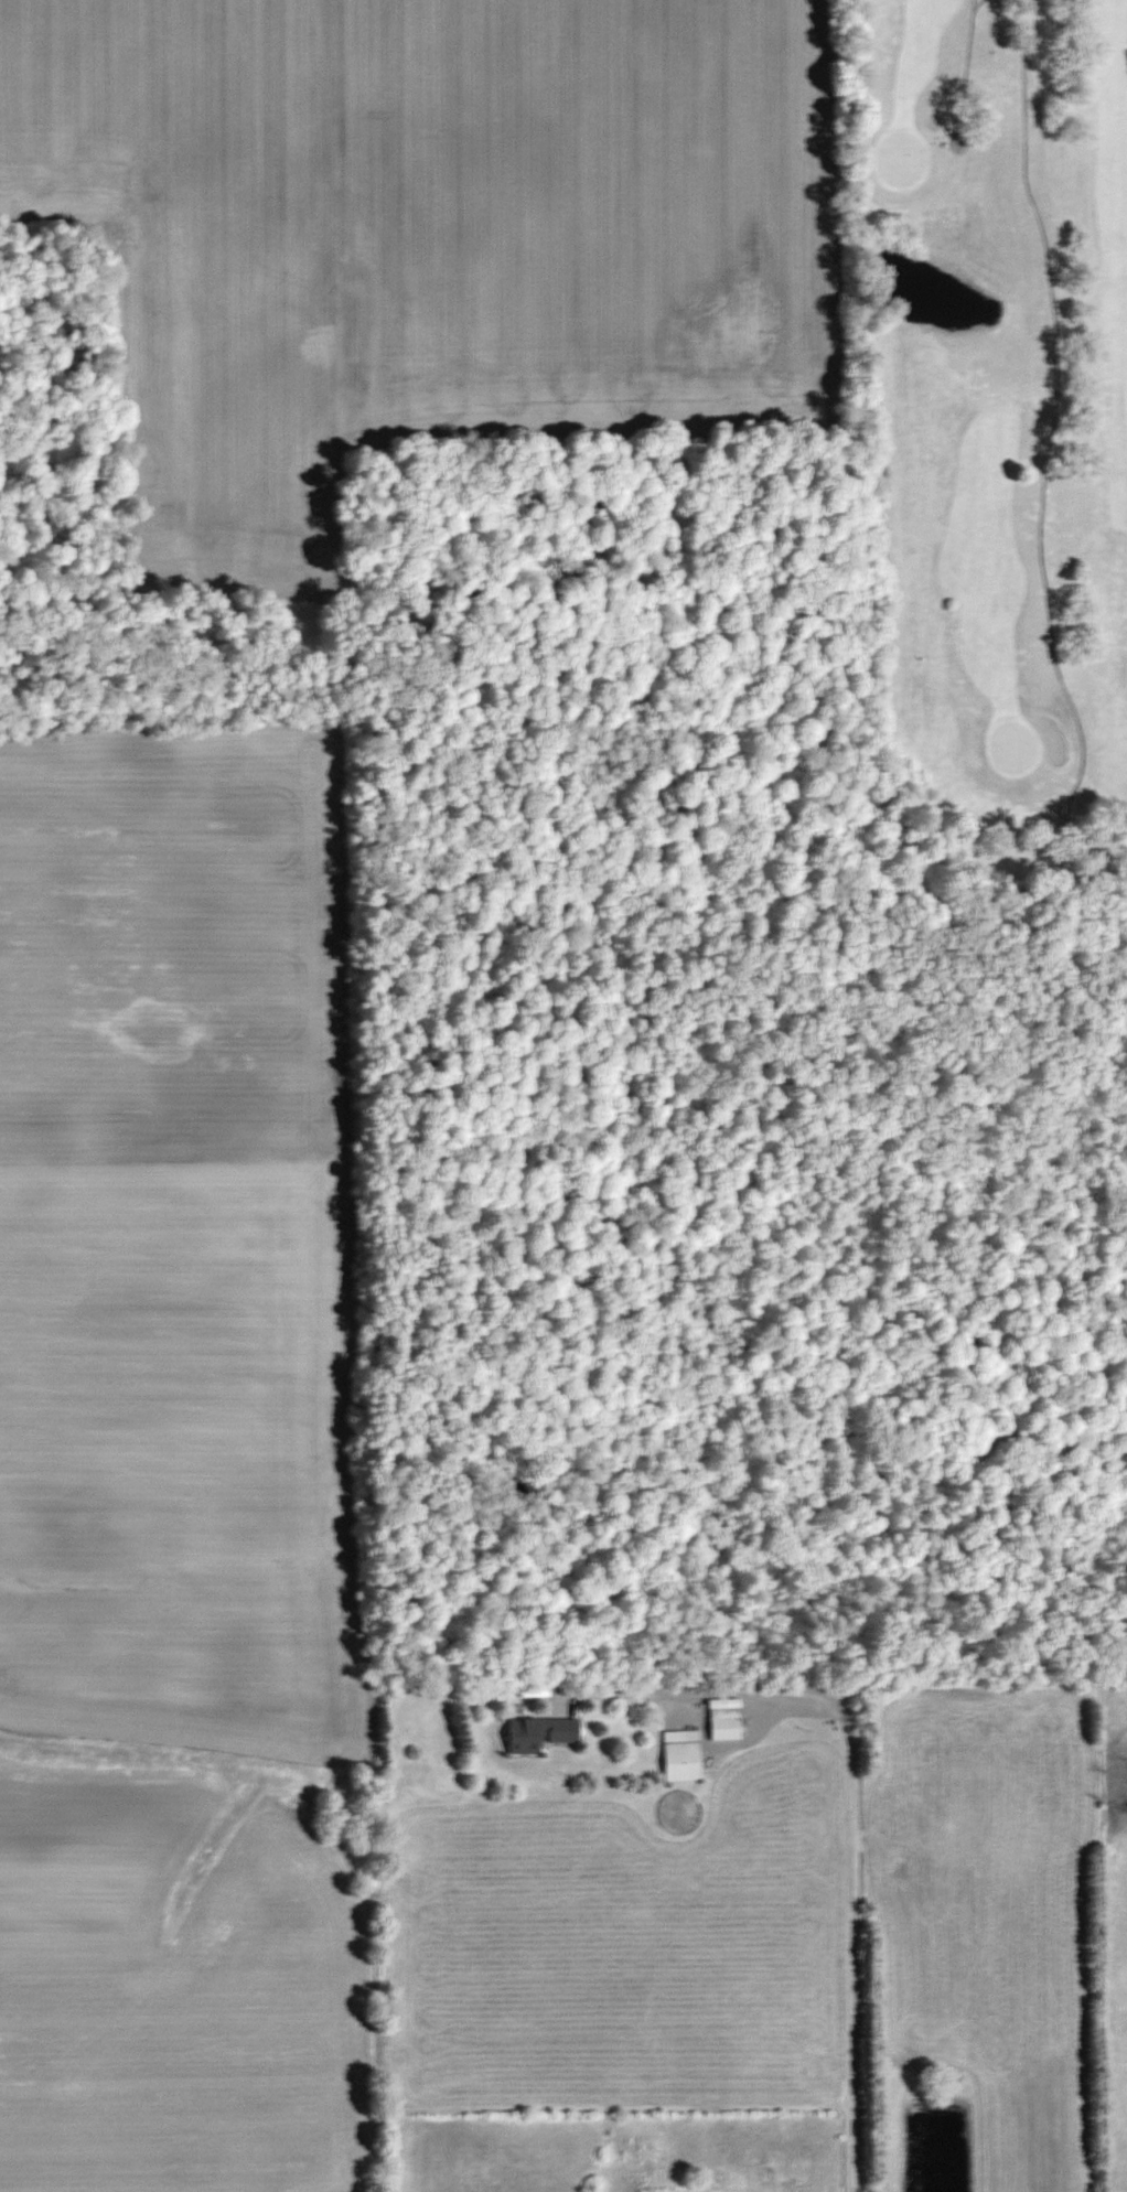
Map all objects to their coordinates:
building: (724, 1719)
building: (540, 1733)
building: (681, 1755)
road: (849, 1806)

